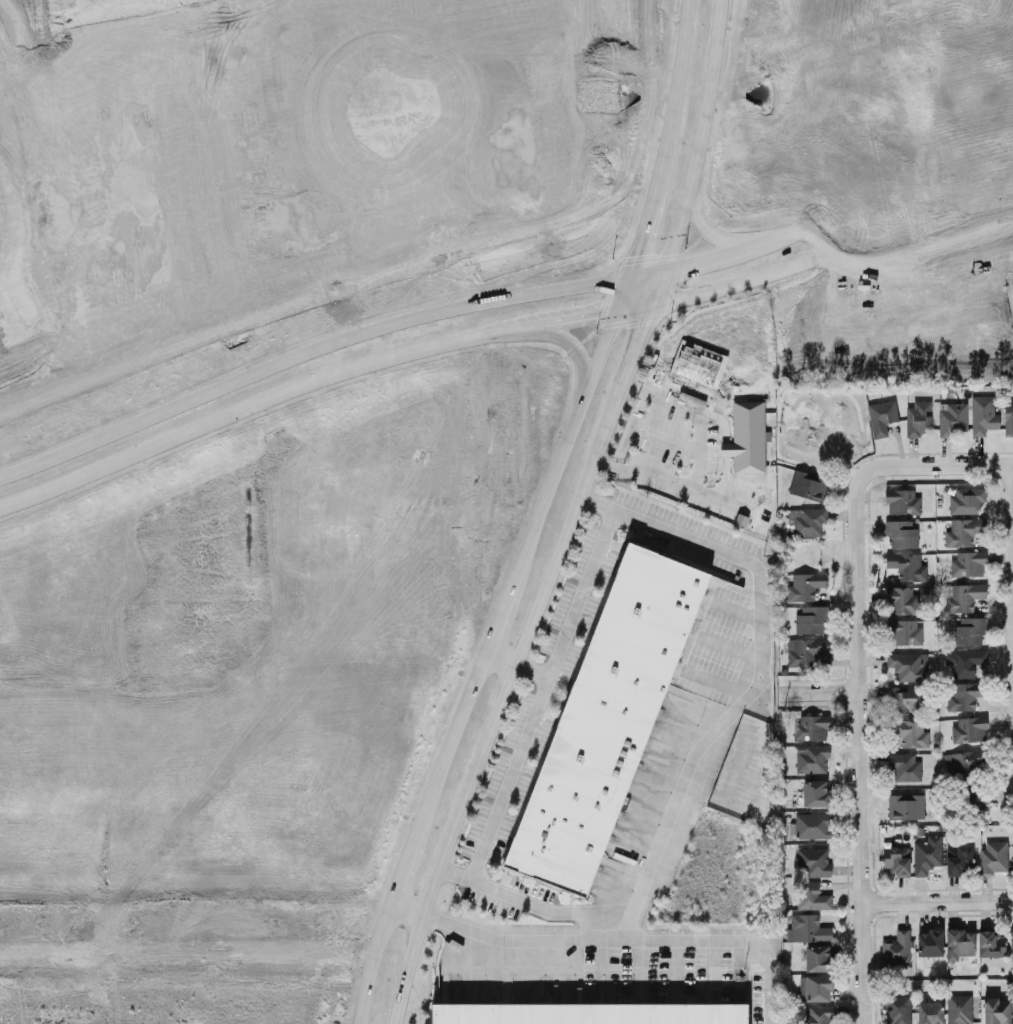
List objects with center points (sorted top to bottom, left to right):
road: (675, 90)
road: (700, 137)
road: (643, 228)
road: (730, 251)
traffic signals: (636, 253)
road: (729, 284)
road: (658, 289)
traffic signals: (598, 317)
road: (587, 318)
traffic signals: (645, 326)
road: (502, 332)
road: (323, 345)
road: (574, 347)
road: (636, 348)
road: (412, 353)
road: (697, 412)
building: (982, 413)
building: (880, 418)
building: (1008, 418)
building: (917, 419)
building: (951, 419)
building: (838, 427)
road: (568, 434)
road: (170, 438)
building: (746, 438)
building: (811, 448)
road: (942, 464)
road: (675, 485)
building: (807, 486)
building: (901, 501)
building: (965, 501)
building: (739, 521)
building: (807, 523)
building: (961, 533)
building: (900, 534)
building: (966, 564)
building: (905, 566)
road: (856, 575)
building: (803, 586)
road: (585, 591)
building: (963, 596)
building: (901, 600)
building: (810, 620)
road: (498, 622)
building: (968, 631)
building: (904, 632)
building: (802, 651)
road: (500, 658)
building: (963, 661)
building: (907, 665)
road: (823, 690)
building: (964, 695)
building: (904, 699)
road: (497, 704)
building: (606, 720)
building: (810, 728)
building: (967, 729)
building: (907, 733)
road: (450, 746)
building: (810, 759)
building: (963, 765)
building: (903, 766)
road: (696, 776)
road: (512, 777)
building: (814, 794)
building: (973, 800)
building: (904, 806)
building: (810, 826)
building: (1011, 850)
building: (925, 855)
road: (859, 856)
building: (992, 858)
building: (958, 859)
building: (895, 860)
building: (812, 862)
road: (401, 871)
building: (810, 897)
road: (532, 902)
road: (936, 902)
road: (404, 907)
building: (806, 928)
road: (734, 939)
building: (928, 943)
building: (959, 943)
building: (990, 944)
building: (1012, 944)
building: (895, 951)
building: (816, 958)
road: (371, 962)
building: (816, 988)
building: (958, 1009)
building: (897, 1010)
building: (591, 1011)
building: (995, 1011)
building: (928, 1012)
building: (814, 1014)

